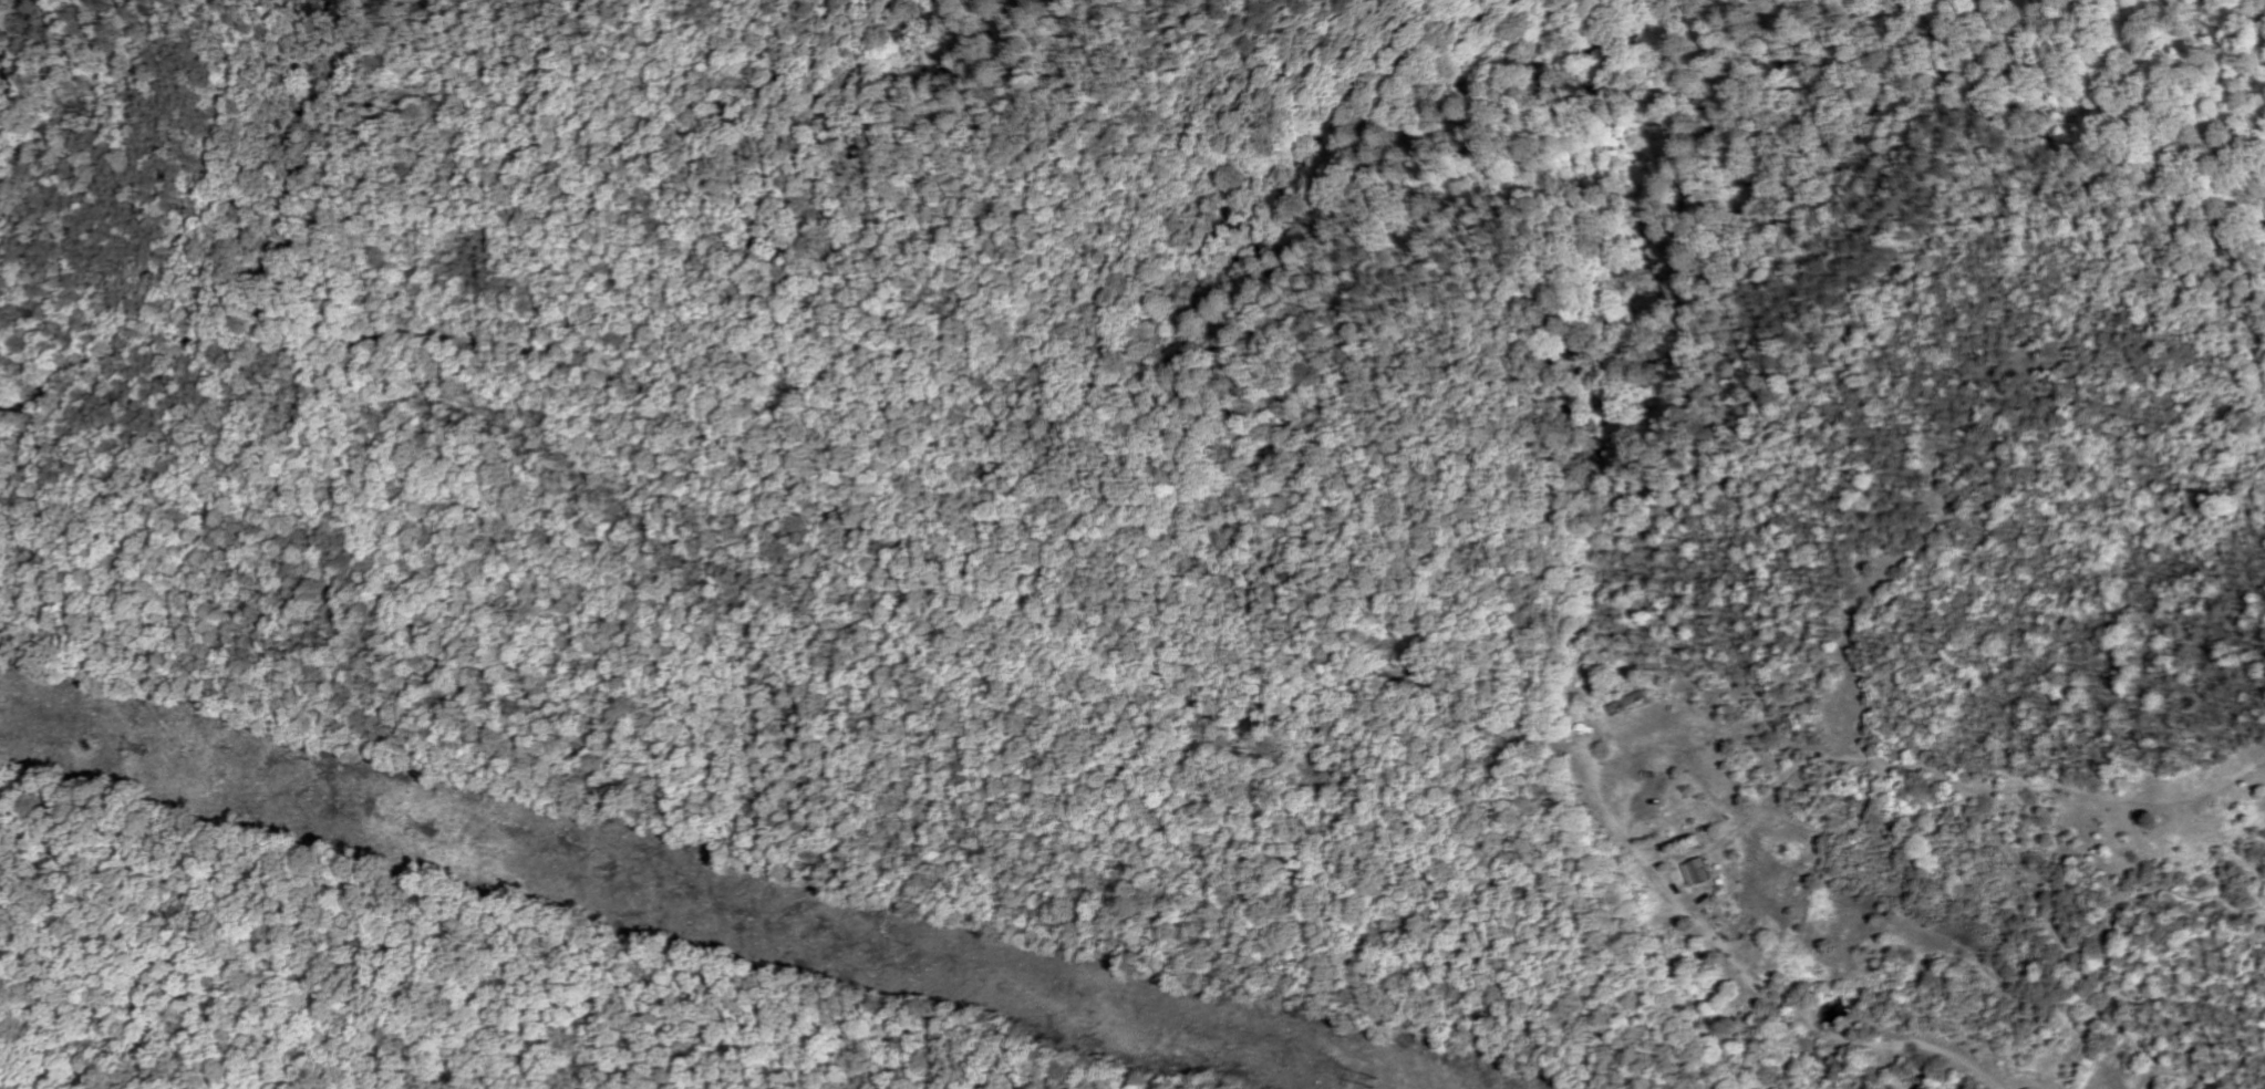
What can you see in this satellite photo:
road: (556, 355)
road: (1587, 765)
building: (1703, 872)

